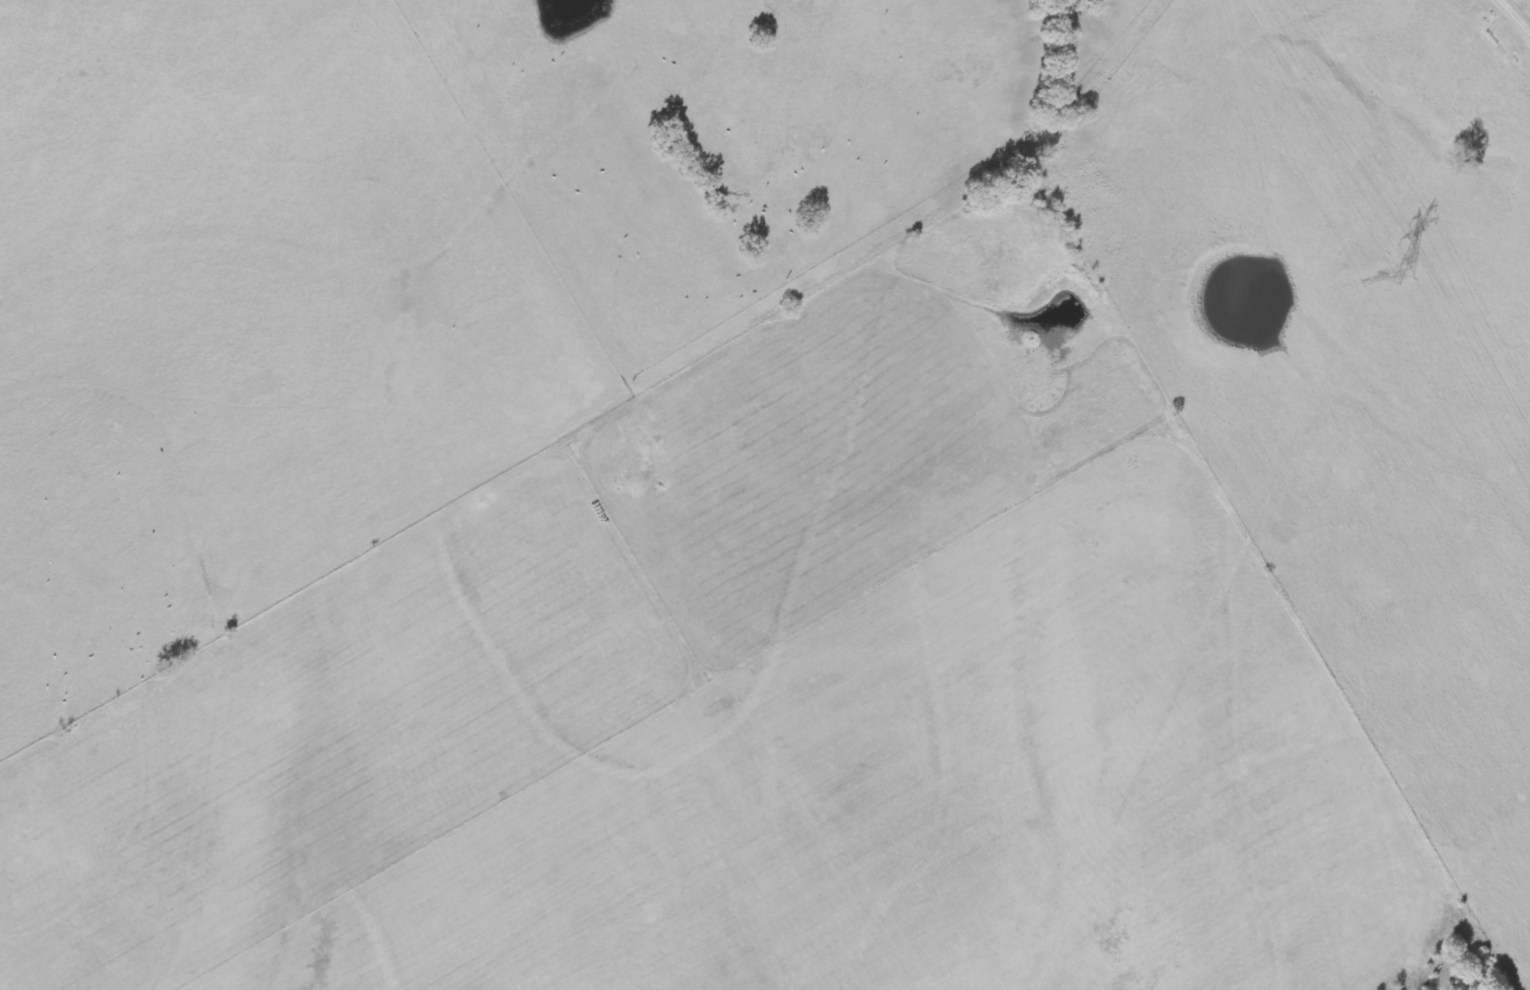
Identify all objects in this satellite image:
power tower: (1410, 273)

